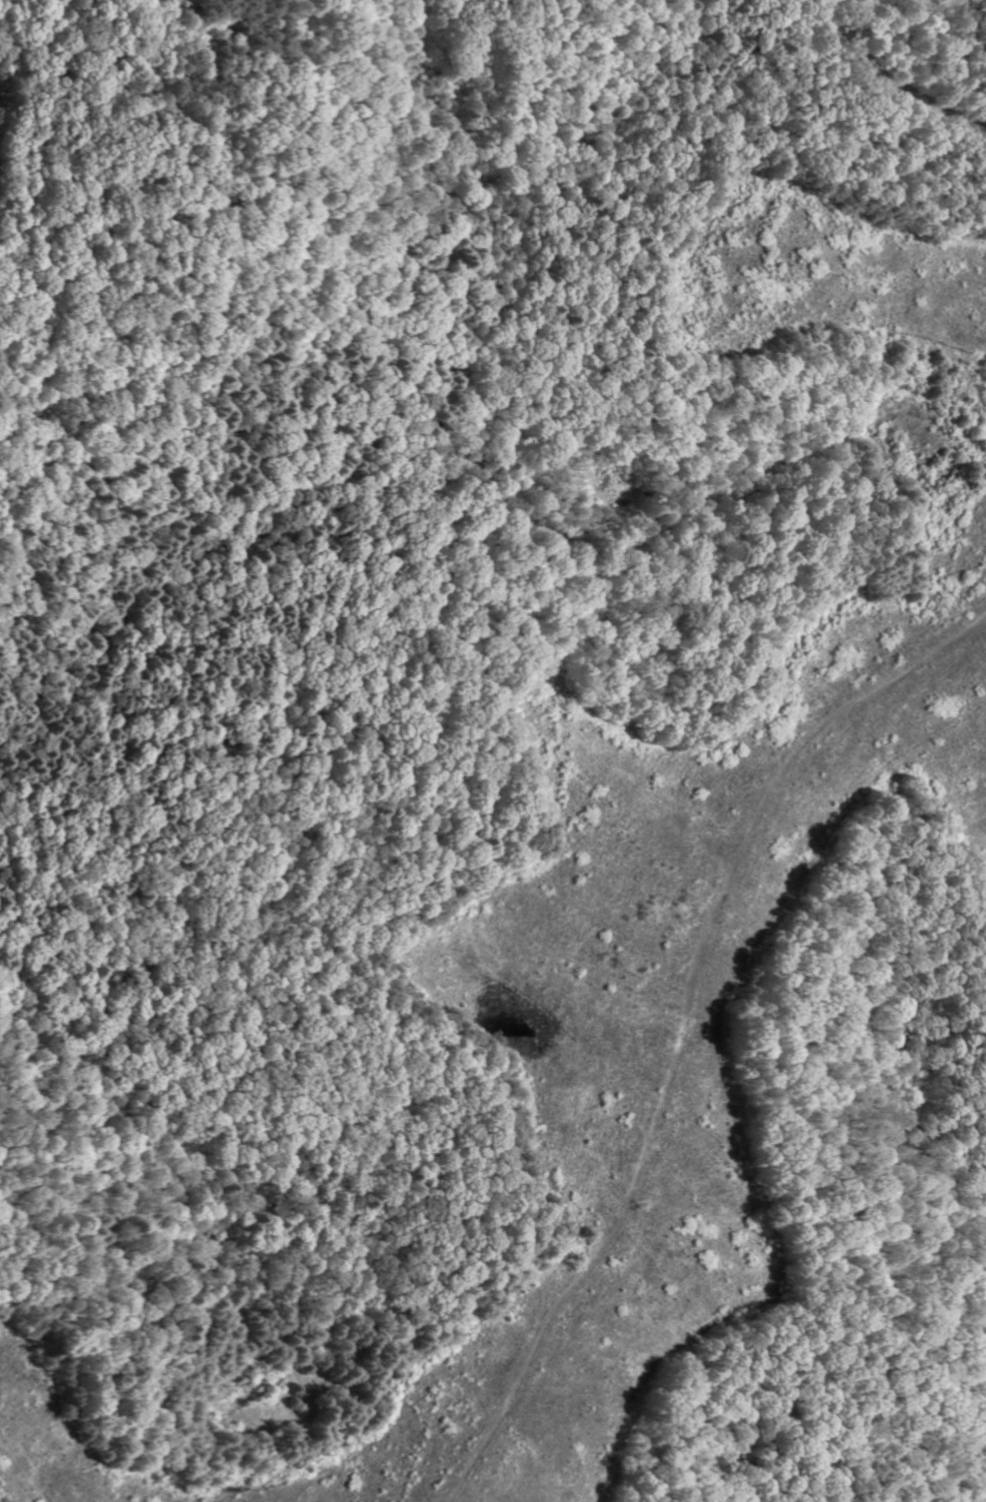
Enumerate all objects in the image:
road: (894, 83)

